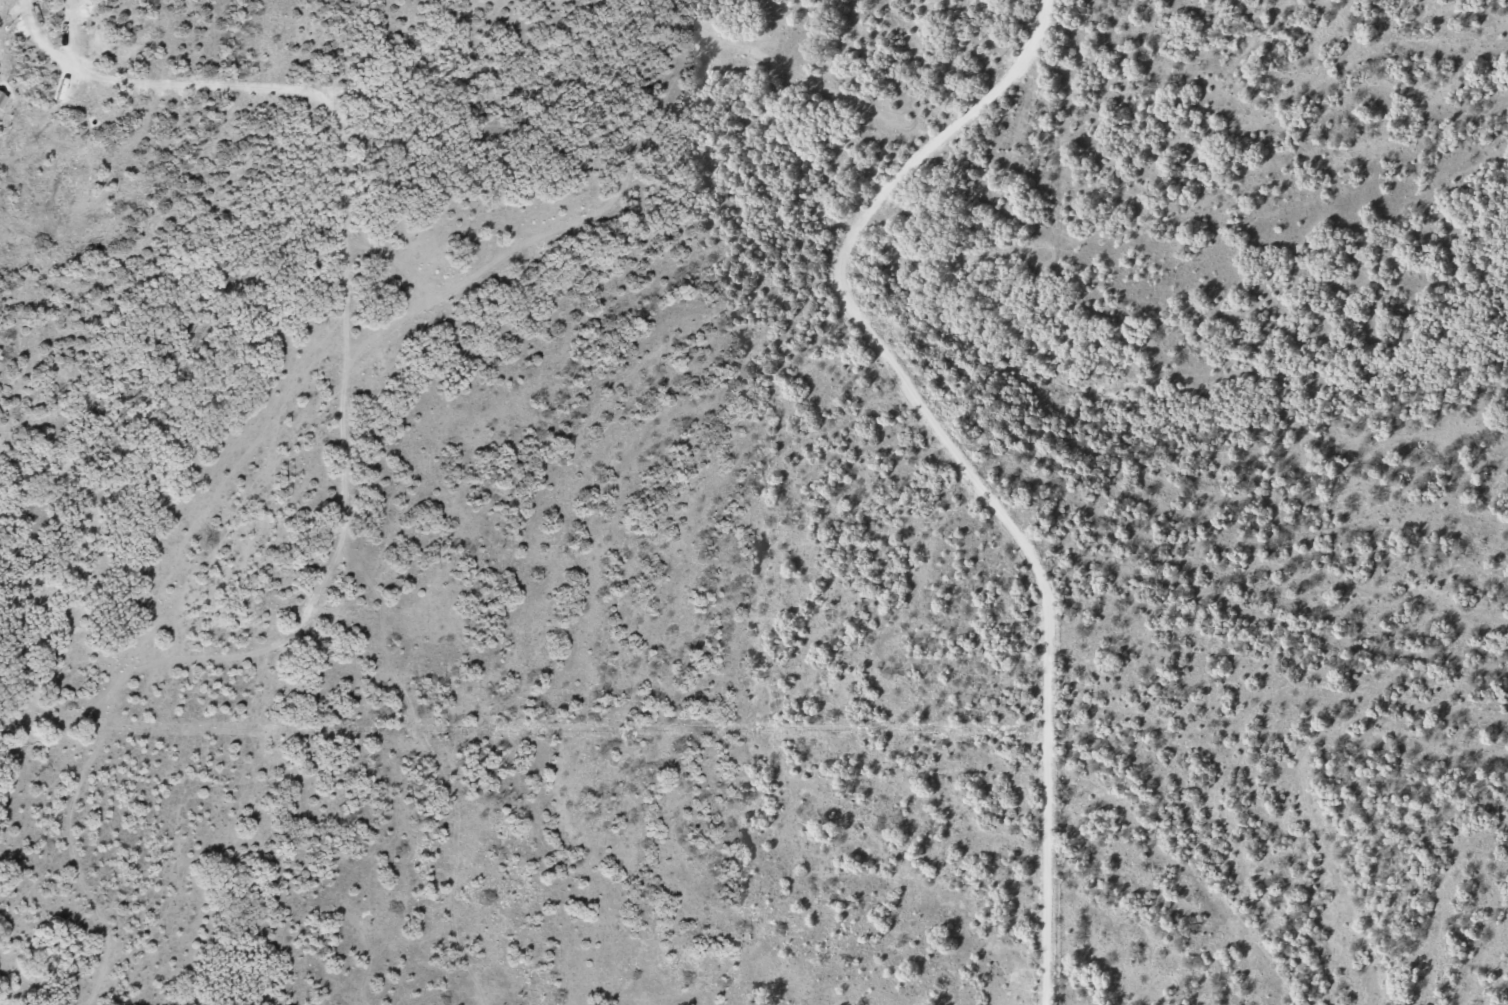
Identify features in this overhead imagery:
road: (939, 462)

